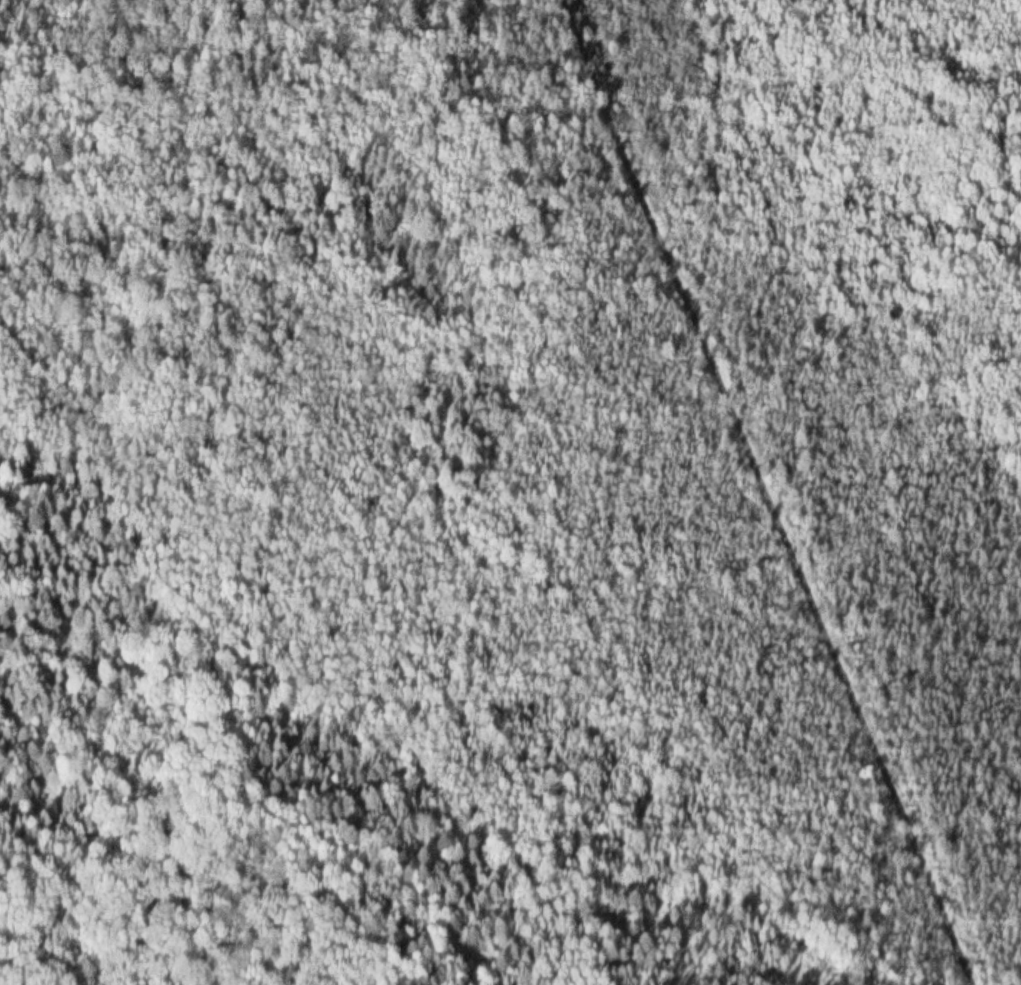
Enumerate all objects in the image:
road: (769, 492)

